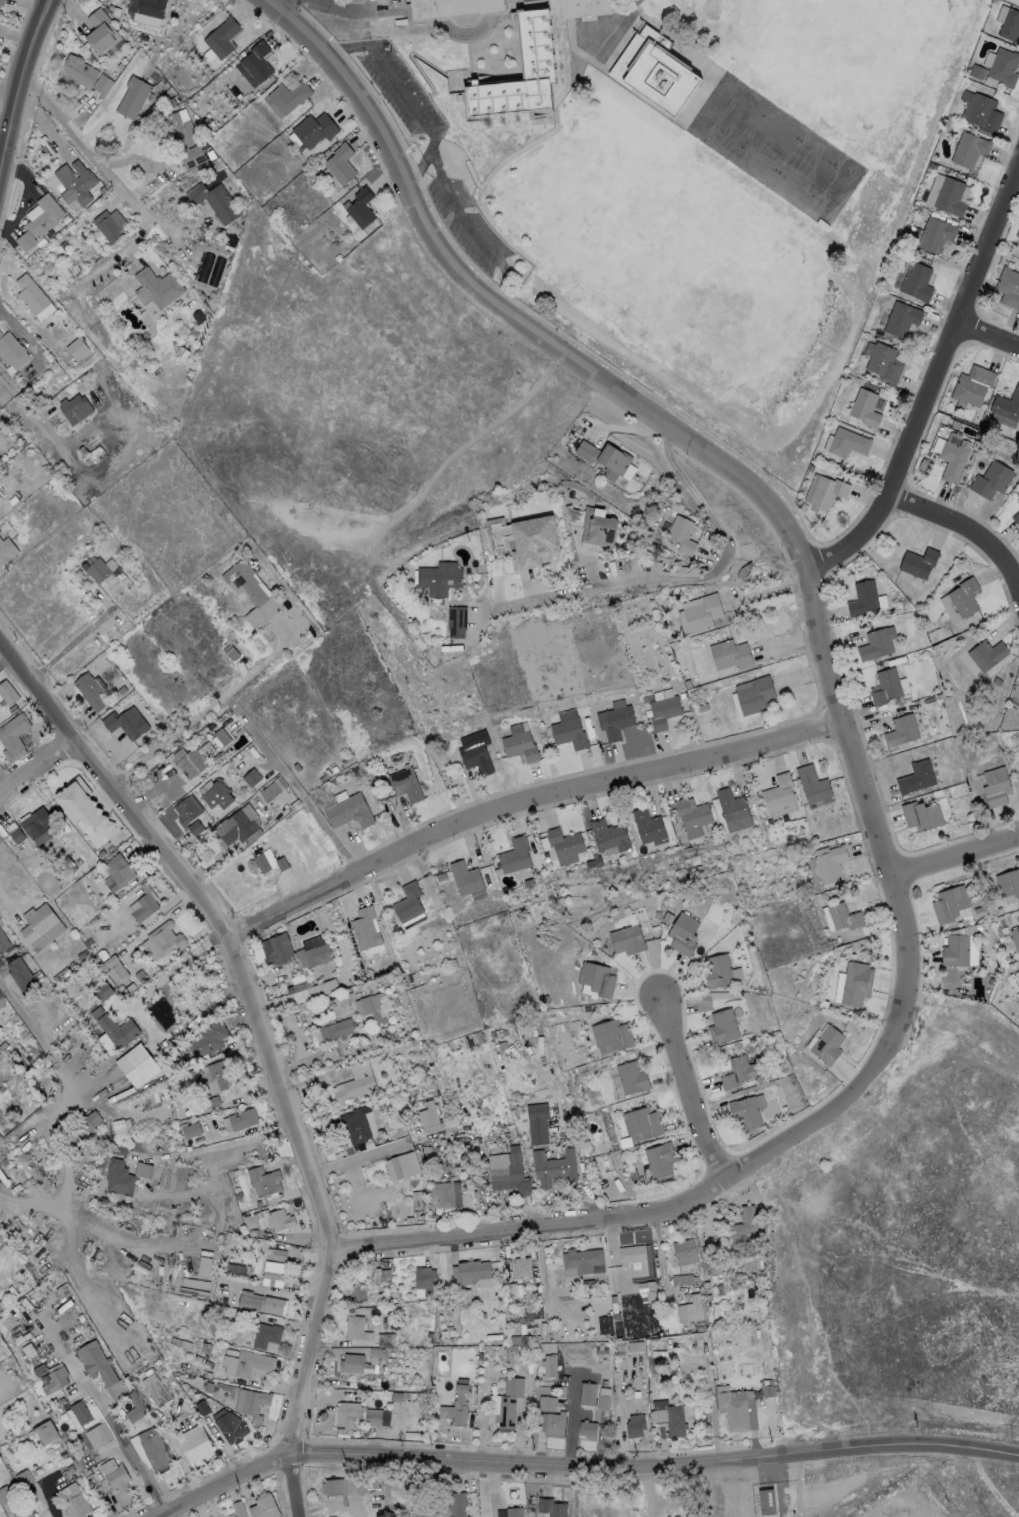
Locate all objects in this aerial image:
building: (1, 3)
building: (108, 7)
building: (452, 7)
road: (43, 8)
road: (341, 8)
building: (588, 9)
building: (146, 11)
building: (1010, 26)
building: (101, 34)
building: (222, 38)
park: (833, 51)
building: (539, 59)
building: (254, 64)
building: (119, 65)
building: (1001, 67)
building: (77, 71)
building: (976, 71)
road: (21, 72)
building: (655, 73)
building: (102, 84)
building: (290, 97)
road: (406, 97)
building: (133, 98)
building: (497, 102)
building: (982, 111)
building: (314, 130)
building: (184, 137)
road: (88, 144)
building: (43, 148)
building: (969, 149)
building: (340, 165)
building: (933, 166)
building: (74, 184)
building: (950, 196)
building: (215, 202)
building: (89, 208)
building: (360, 208)
building: (39, 224)
building: (109, 224)
road: (471, 230)
building: (935, 234)
building: (1018, 235)
building: (64, 245)
park: (676, 254)
building: (916, 281)
building: (156, 288)
building: (1009, 288)
building: (32, 298)
road: (505, 312)
building: (901, 319)
road: (21, 333)
road: (989, 337)
building: (9, 348)
building: (76, 349)
building: (884, 362)
road: (936, 385)
building: (972, 385)
road: (24, 404)
building: (1007, 406)
building: (865, 408)
building: (74, 410)
building: (847, 443)
building: (81, 451)
building: (604, 457)
building: (951, 459)
building: (810, 468)
building: (598, 472)
building: (991, 479)
building: (824, 491)
building: (1018, 497)
building: (11, 501)
building: (1016, 519)
road: (964, 526)
building: (597, 528)
building: (681, 535)
building: (523, 540)
building: (6, 550)
building: (917, 562)
building: (744, 569)
building: (98, 572)
building: (439, 578)
road: (685, 579)
building: (250, 593)
building: (862, 597)
building: (963, 597)
building: (699, 614)
building: (455, 622)
building: (876, 642)
road: (71, 643)
building: (230, 653)
building: (986, 654)
building: (730, 655)
building: (996, 680)
building: (686, 685)
building: (885, 685)
building: (121, 690)
building: (7, 692)
building: (90, 692)
building: (938, 696)
building: (752, 697)
building: (703, 707)
building: (662, 709)
road: (199, 712)
building: (614, 720)
road: (845, 722)
building: (124, 723)
building: (901, 729)
building: (567, 731)
building: (13, 732)
building: (220, 737)
building: (519, 748)
building: (475, 753)
building: (187, 762)
road: (35, 768)
building: (251, 777)
building: (916, 777)
building: (1018, 777)
building: (812, 784)
building: (404, 785)
building: (994, 787)
road: (299, 794)
building: (215, 796)
building: (779, 796)
road: (530, 801)
building: (83, 804)
building: (293, 805)
building: (732, 809)
building: (186, 810)
building: (347, 813)
building: (921, 815)
building: (691, 816)
building: (38, 824)
building: (646, 825)
building: (193, 828)
building: (236, 828)
building: (16, 833)
building: (607, 835)
building: (813, 839)
building: (563, 843)
road: (954, 854)
building: (513, 855)
building: (829, 862)
building: (259, 863)
building: (280, 864)
building: (118, 871)
building: (464, 877)
building: (1009, 884)
building: (407, 901)
building: (948, 902)
building: (144, 905)
building: (656, 914)
building: (843, 916)
building: (666, 917)
building: (41, 925)
building: (365, 928)
building: (682, 933)
building: (626, 938)
building: (1015, 939)
building: (163, 940)
building: (3, 941)
building: (88, 941)
building: (278, 949)
building: (954, 950)
building: (312, 951)
building: (83, 954)
building: (109, 960)
road: (171, 969)
building: (716, 970)
building: (64, 971)
building: (118, 971)
building: (22, 974)
building: (140, 975)
building: (596, 978)
building: (855, 983)
building: (838, 987)
building: (103, 990)
building: (1017, 994)
building: (1, 999)
building: (371, 1007)
building: (585, 1008)
building: (97, 1011)
building: (163, 1013)
building: (722, 1025)
building: (118, 1029)
building: (336, 1029)
building: (611, 1033)
building: (209, 1039)
road: (265, 1042)
building: (827, 1044)
building: (137, 1063)
building: (737, 1071)
road: (59, 1072)
building: (216, 1076)
building: (630, 1076)
road: (688, 1086)
building: (2, 1087)
building: (354, 1087)
building: (744, 1111)
building: (427, 1114)
building: (243, 1118)
building: (642, 1121)
building: (535, 1124)
building: (353, 1125)
building: (82, 1127)
building: (191, 1129)
building: (138, 1143)
road: (213, 1147)
building: (351, 1149)
building: (185, 1159)
building: (658, 1159)
road: (355, 1160)
building: (400, 1166)
building: (553, 1167)
building: (144, 1169)
building: (158, 1171)
building: (506, 1171)
building: (119, 1177)
building: (265, 1179)
road: (714, 1184)
building: (522, 1188)
building: (238, 1194)
building: (443, 1195)
building: (415, 1196)
building: (281, 1219)
building: (252, 1220)
building: (743, 1225)
building: (685, 1251)
building: (276, 1253)
building: (631, 1253)
building: (582, 1261)
road: (3, 1263)
building: (751, 1263)
building: (205, 1266)
building: (522, 1266)
building: (470, 1270)
building: (274, 1273)
building: (425, 1278)
building: (681, 1278)
building: (587, 1283)
building: (646, 1285)
building: (514, 1289)
building: (363, 1293)
building: (466, 1294)
building: (223, 1299)
building: (250, 1300)
road: (807, 1302)
building: (274, 1304)
building: (690, 1309)
building: (617, 1315)
building: (605, 1324)
building: (356, 1327)
building: (267, 1335)
building: (385, 1338)
building: (629, 1340)
building: (180, 1342)
building: (578, 1345)
building: (594, 1346)
building: (206, 1347)
building: (512, 1347)
building: (376, 1351)
building: (97, 1362)
building: (351, 1362)
building: (248, 1363)
building: (549, 1365)
building: (40, 1369)
building: (58, 1378)
building: (229, 1386)
building: (209, 1387)
building: (156, 1389)
building: (768, 1390)
building: (588, 1392)
building: (396, 1395)
building: (604, 1398)
building: (509, 1401)
building: (252, 1402)
building: (457, 1406)
building: (135, 1407)
building: (203, 1407)
building: (737, 1407)
building: (80, 1412)
building: (346, 1413)
building: (374, 1415)
building: (550, 1416)
building: (669, 1416)
road: (571, 1418)
building: (635, 1424)
building: (230, 1425)
building: (588, 1428)
building: (46, 1431)
building: (100, 1435)
road: (120, 1437)
building: (197, 1445)
building: (59, 1448)
building: (151, 1451)
building: (63, 1454)
road: (653, 1459)
building: (69, 1468)
building: (90, 1473)
building: (115, 1474)
building: (24, 1478)
road: (221, 1483)
building: (334, 1485)
road: (729, 1486)
building: (761, 1493)
building: (3, 1496)
road: (47, 1500)
building: (74, 1501)
building: (455, 1504)
building: (264, 1506)
building: (551, 1507)
building: (238, 1509)
building: (513, 1512)
building: (23, 1513)

